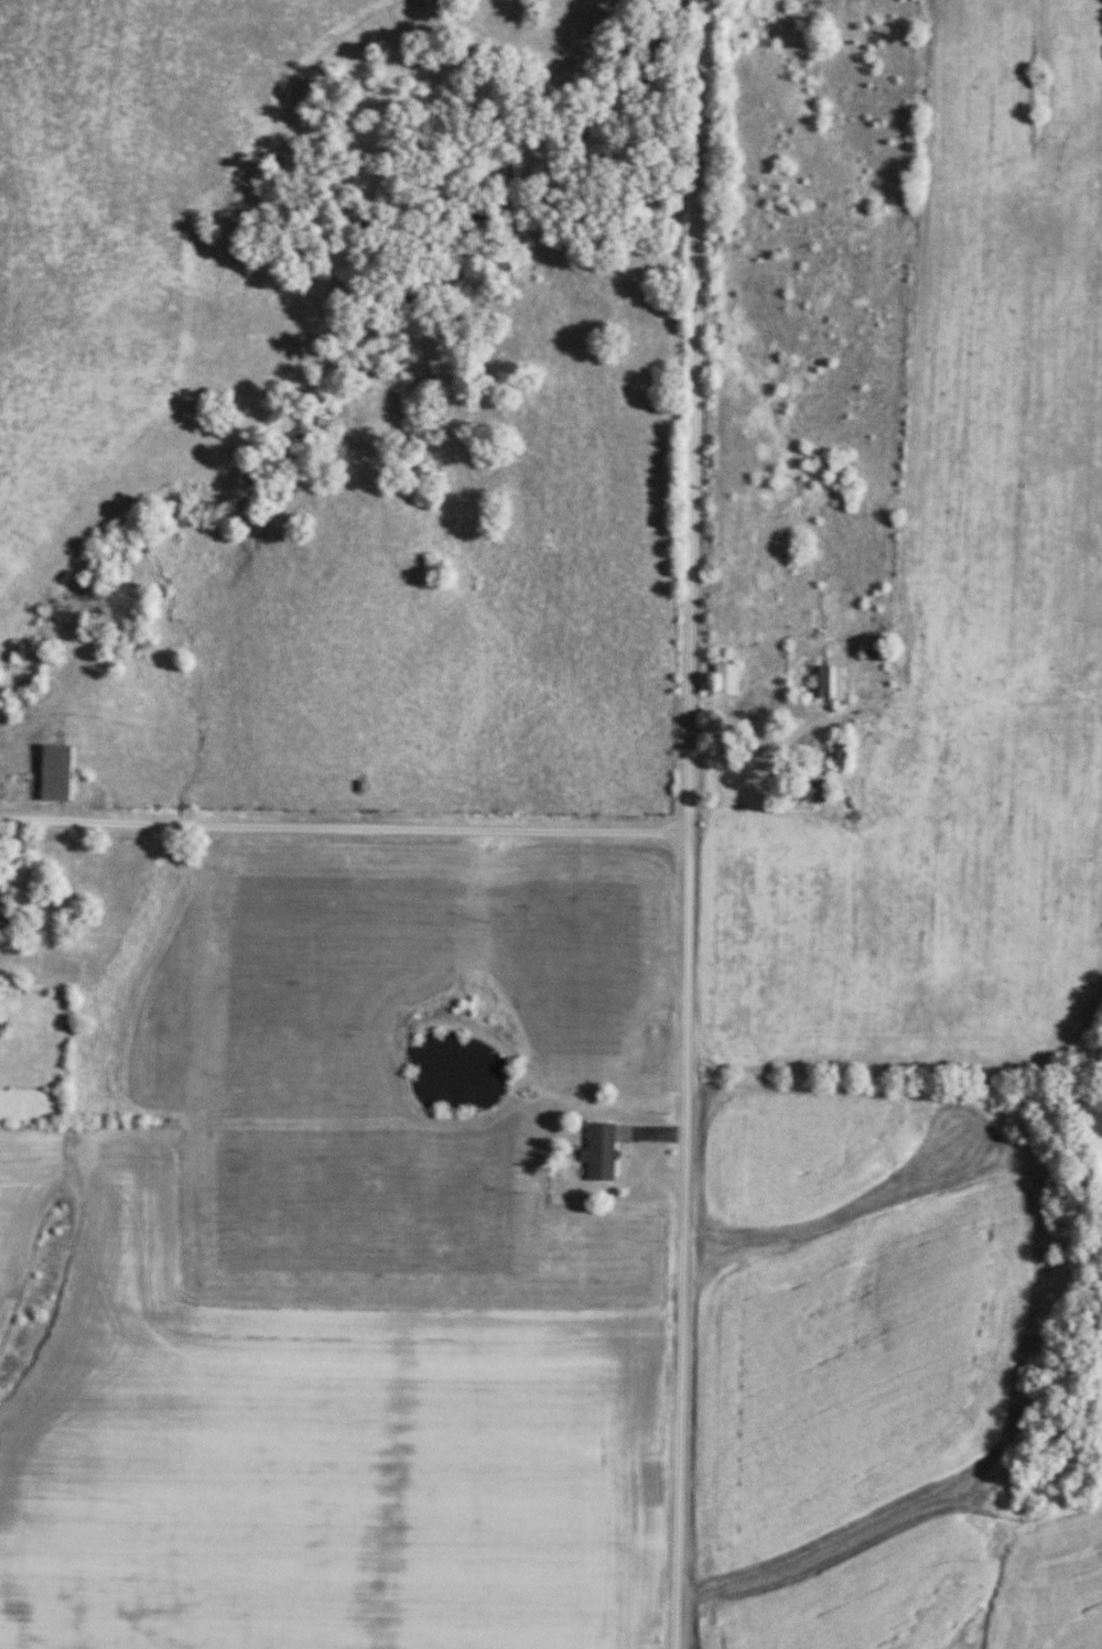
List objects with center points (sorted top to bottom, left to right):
building: (727, 677)
building: (831, 680)
building: (838, 751)
building: (63, 767)
road: (682, 824)
road: (341, 826)
building: (6, 903)
building: (3, 1023)
building: (602, 1150)

